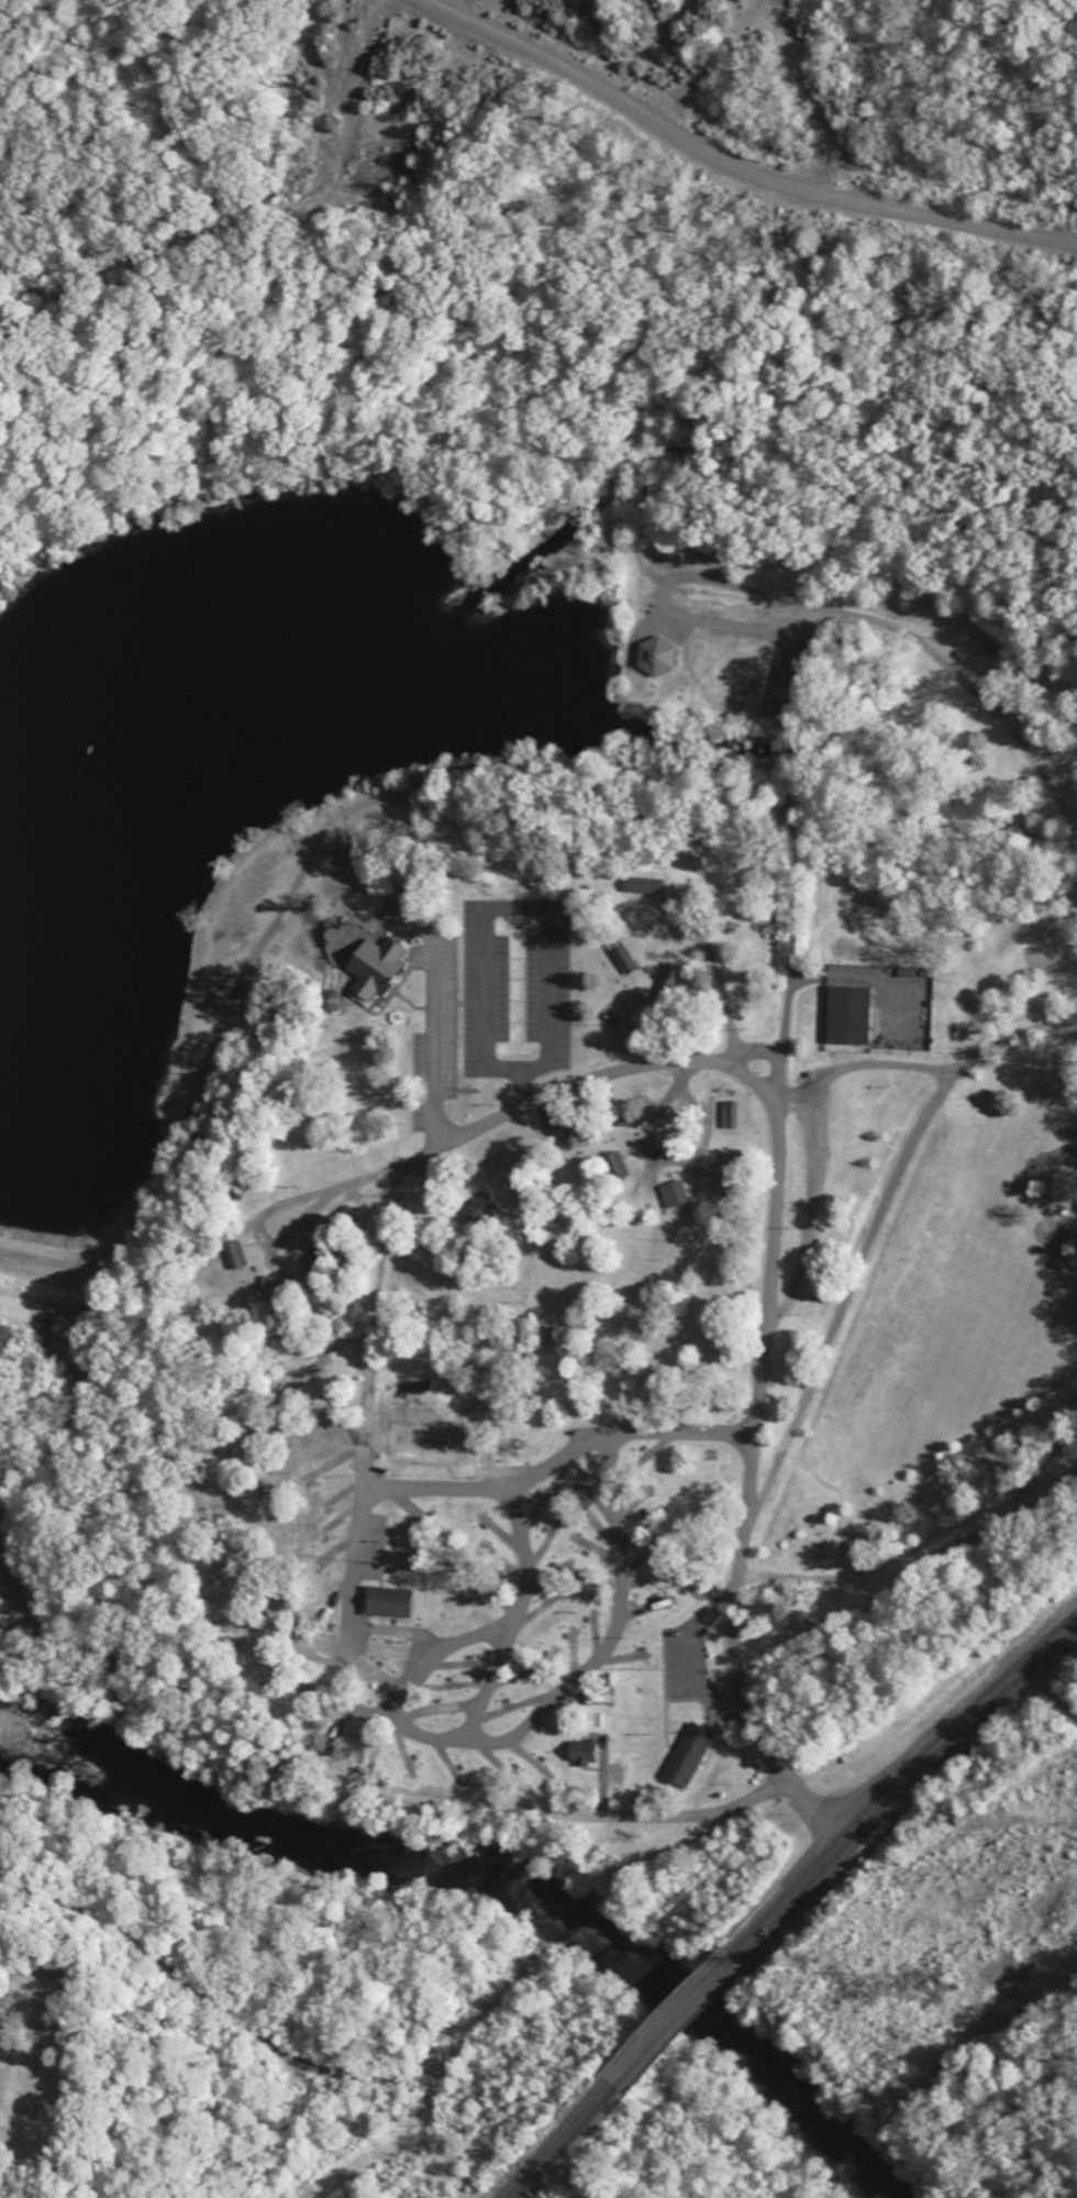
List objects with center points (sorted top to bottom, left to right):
road: (733, 165)
road: (664, 597)
building: (659, 656)
road: (978, 694)
building: (646, 884)
road: (535, 907)
building: (378, 965)
road: (717, 979)
parking lot: (517, 987)
road: (788, 1008)
road: (435, 1009)
building: (852, 1014)
road: (776, 1053)
road: (926, 1067)
building: (732, 1113)
building: (618, 1164)
building: (729, 1166)
building: (676, 1192)
building: (482, 1206)
road: (269, 1208)
road: (814, 1208)
road: (774, 1250)
building: (237, 1253)
road: (850, 1286)
road: (367, 1420)
road: (559, 1458)
road: (913, 1546)
building: (391, 1601)
road: (518, 1615)
road: (264, 1624)
road: (1052, 1642)
road: (438, 1650)
road: (695, 1659)
road: (377, 1672)
road: (1050, 1689)
building: (690, 1754)
road: (875, 1803)
road: (534, 1808)
river: (491, 1888)
power tower: (812, 1953)
power tower: (941, 1981)
road: (140, 2011)
road: (675, 2020)
park: (40, 2061)
road: (565, 2141)

